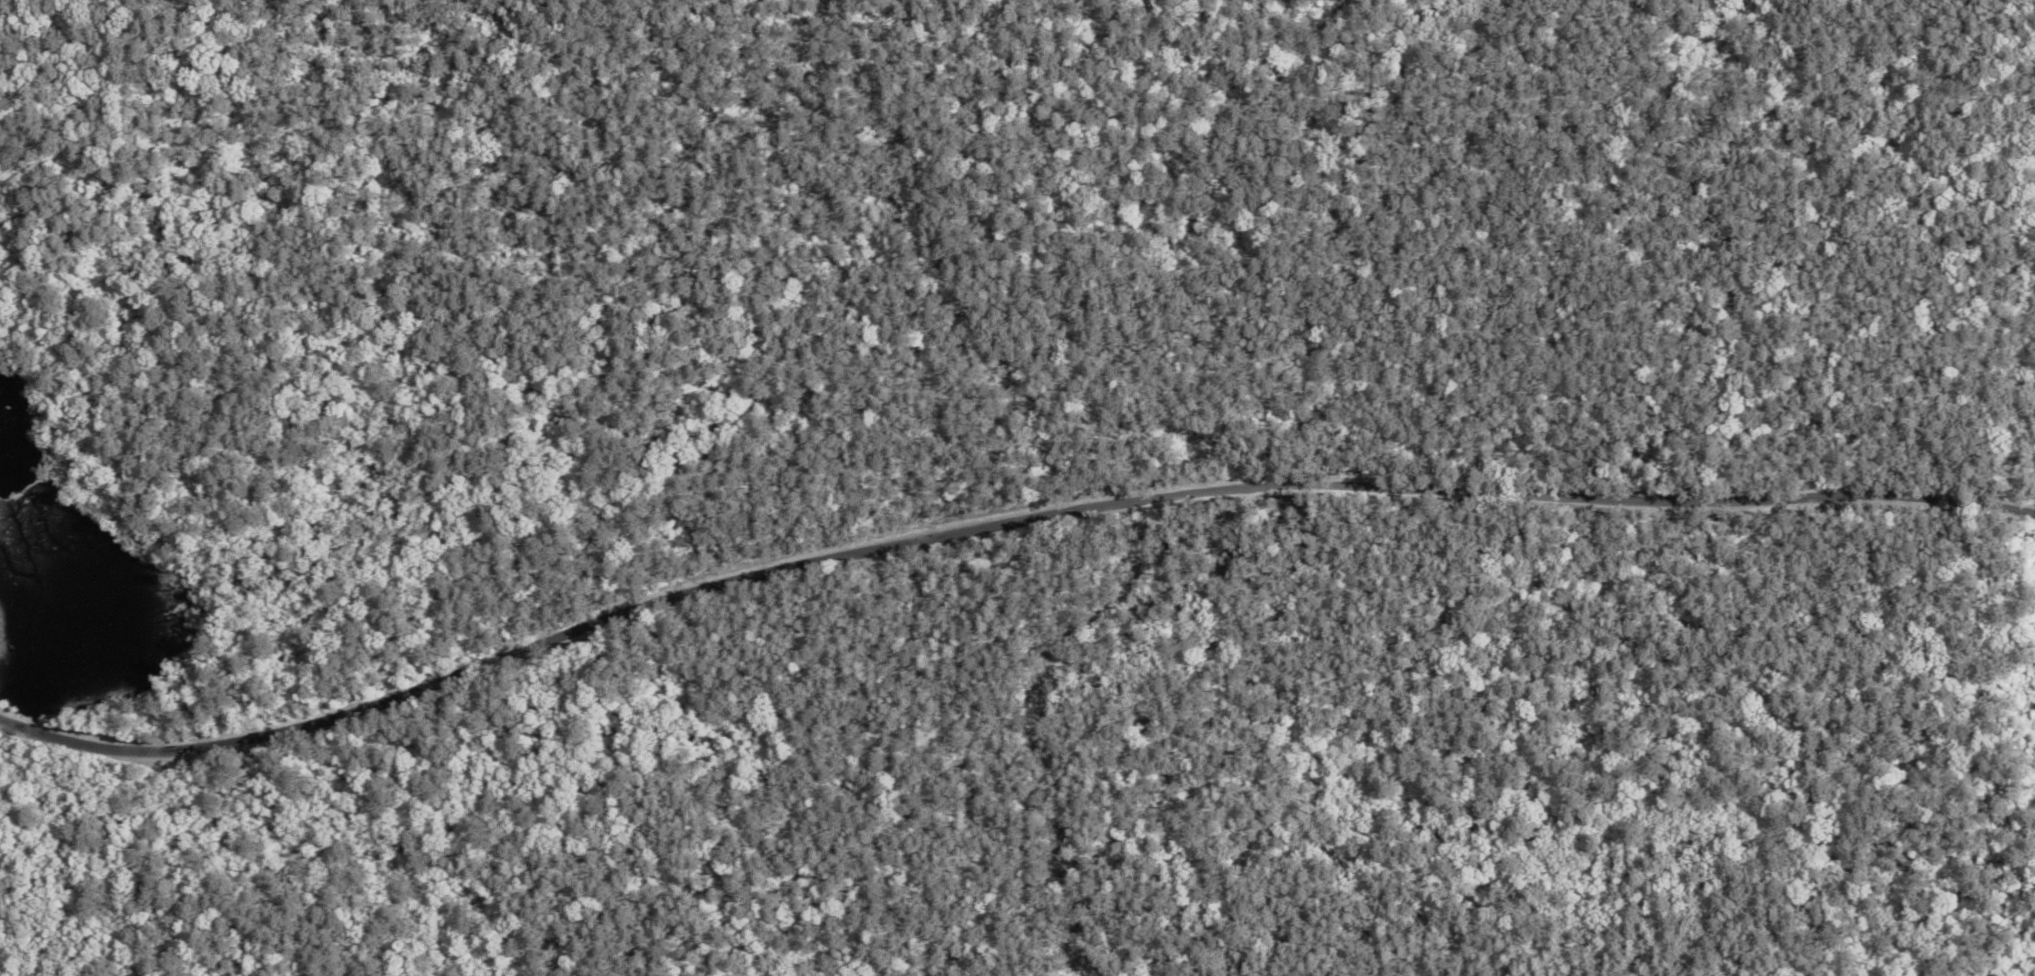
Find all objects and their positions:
road: (1008, 536)

